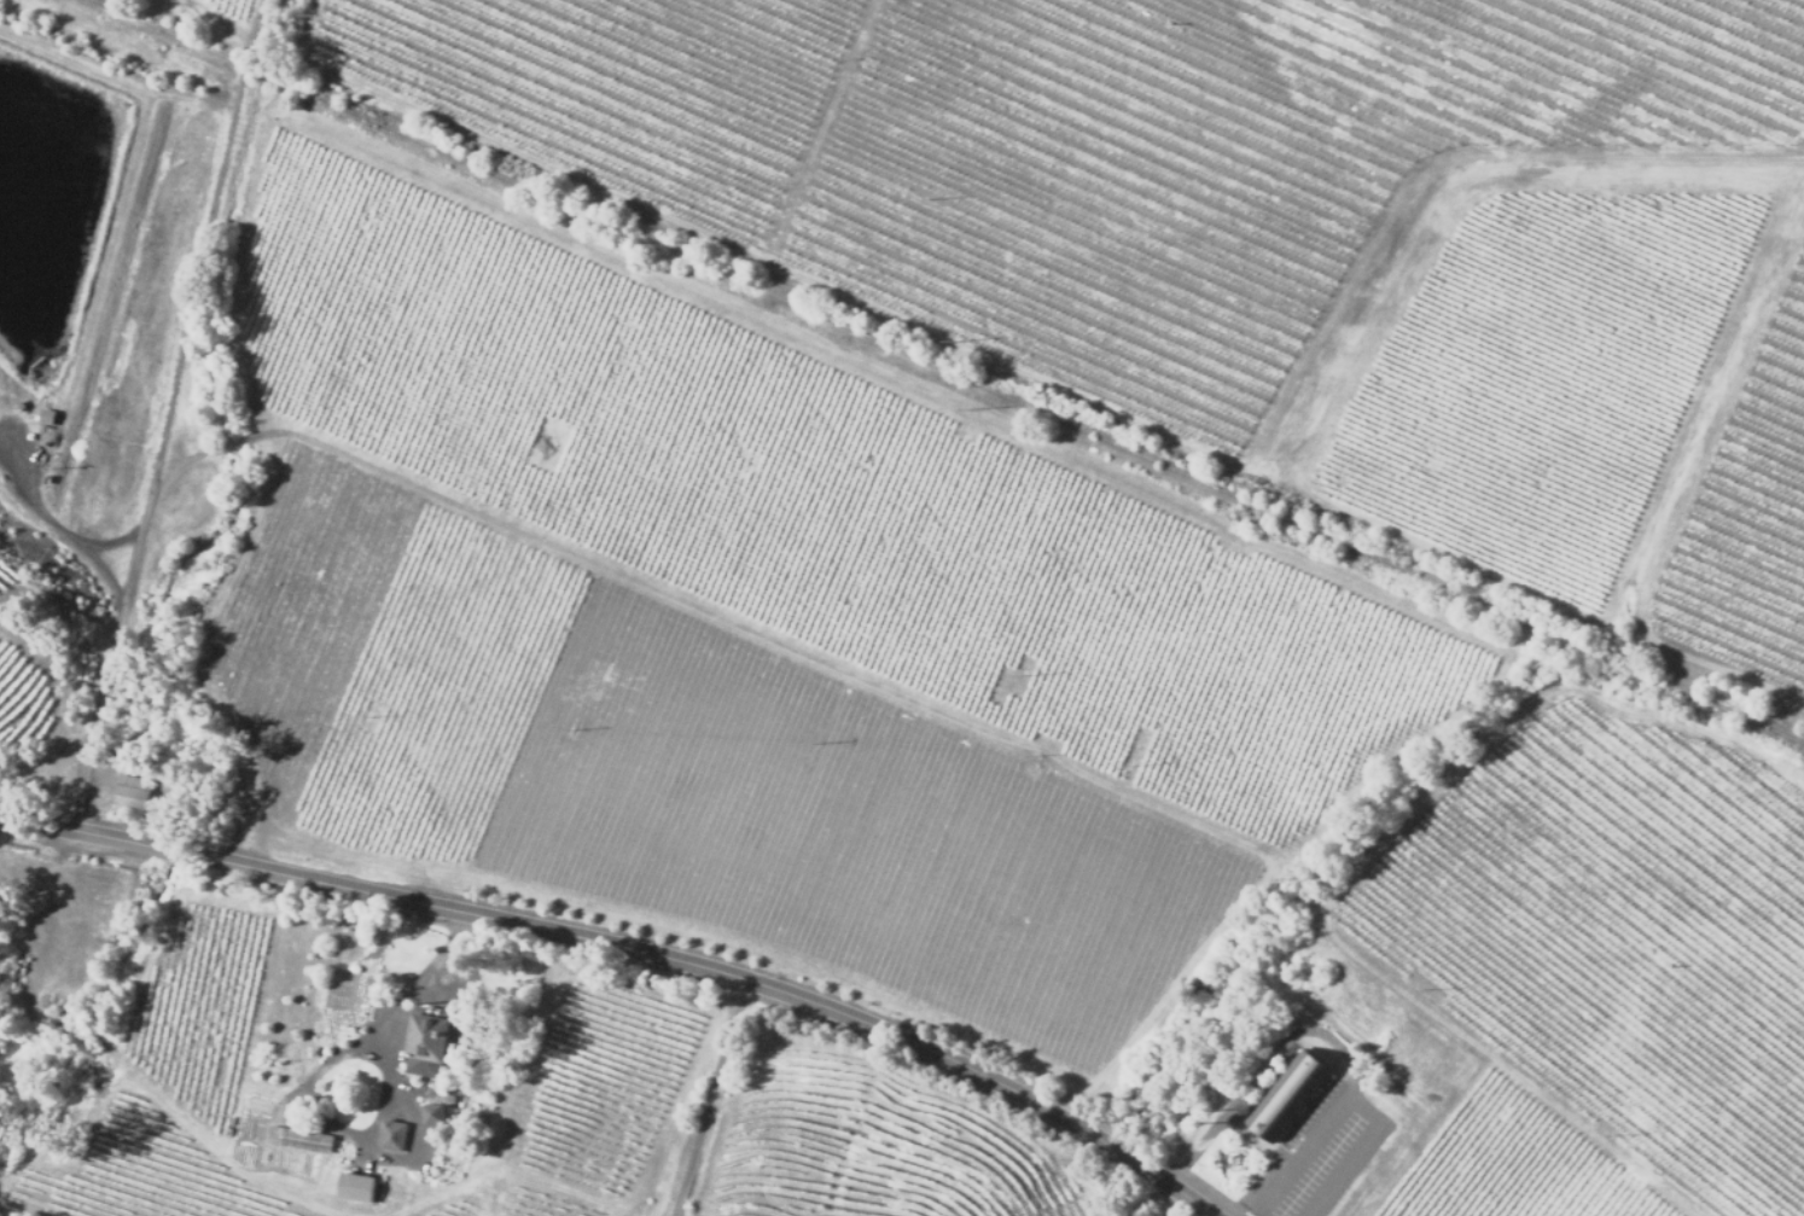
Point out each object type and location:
railway: (944, 371)
road: (157, 417)
railway: (1761, 729)
building: (129, 791)
road: (629, 955)
building: (342, 1037)
building: (430, 1043)
road: (1262, 1061)
building: (1288, 1089)
road: (723, 1104)
road: (1343, 1104)
building: (432, 1118)
building: (389, 1136)
building: (296, 1140)
building: (354, 1189)

